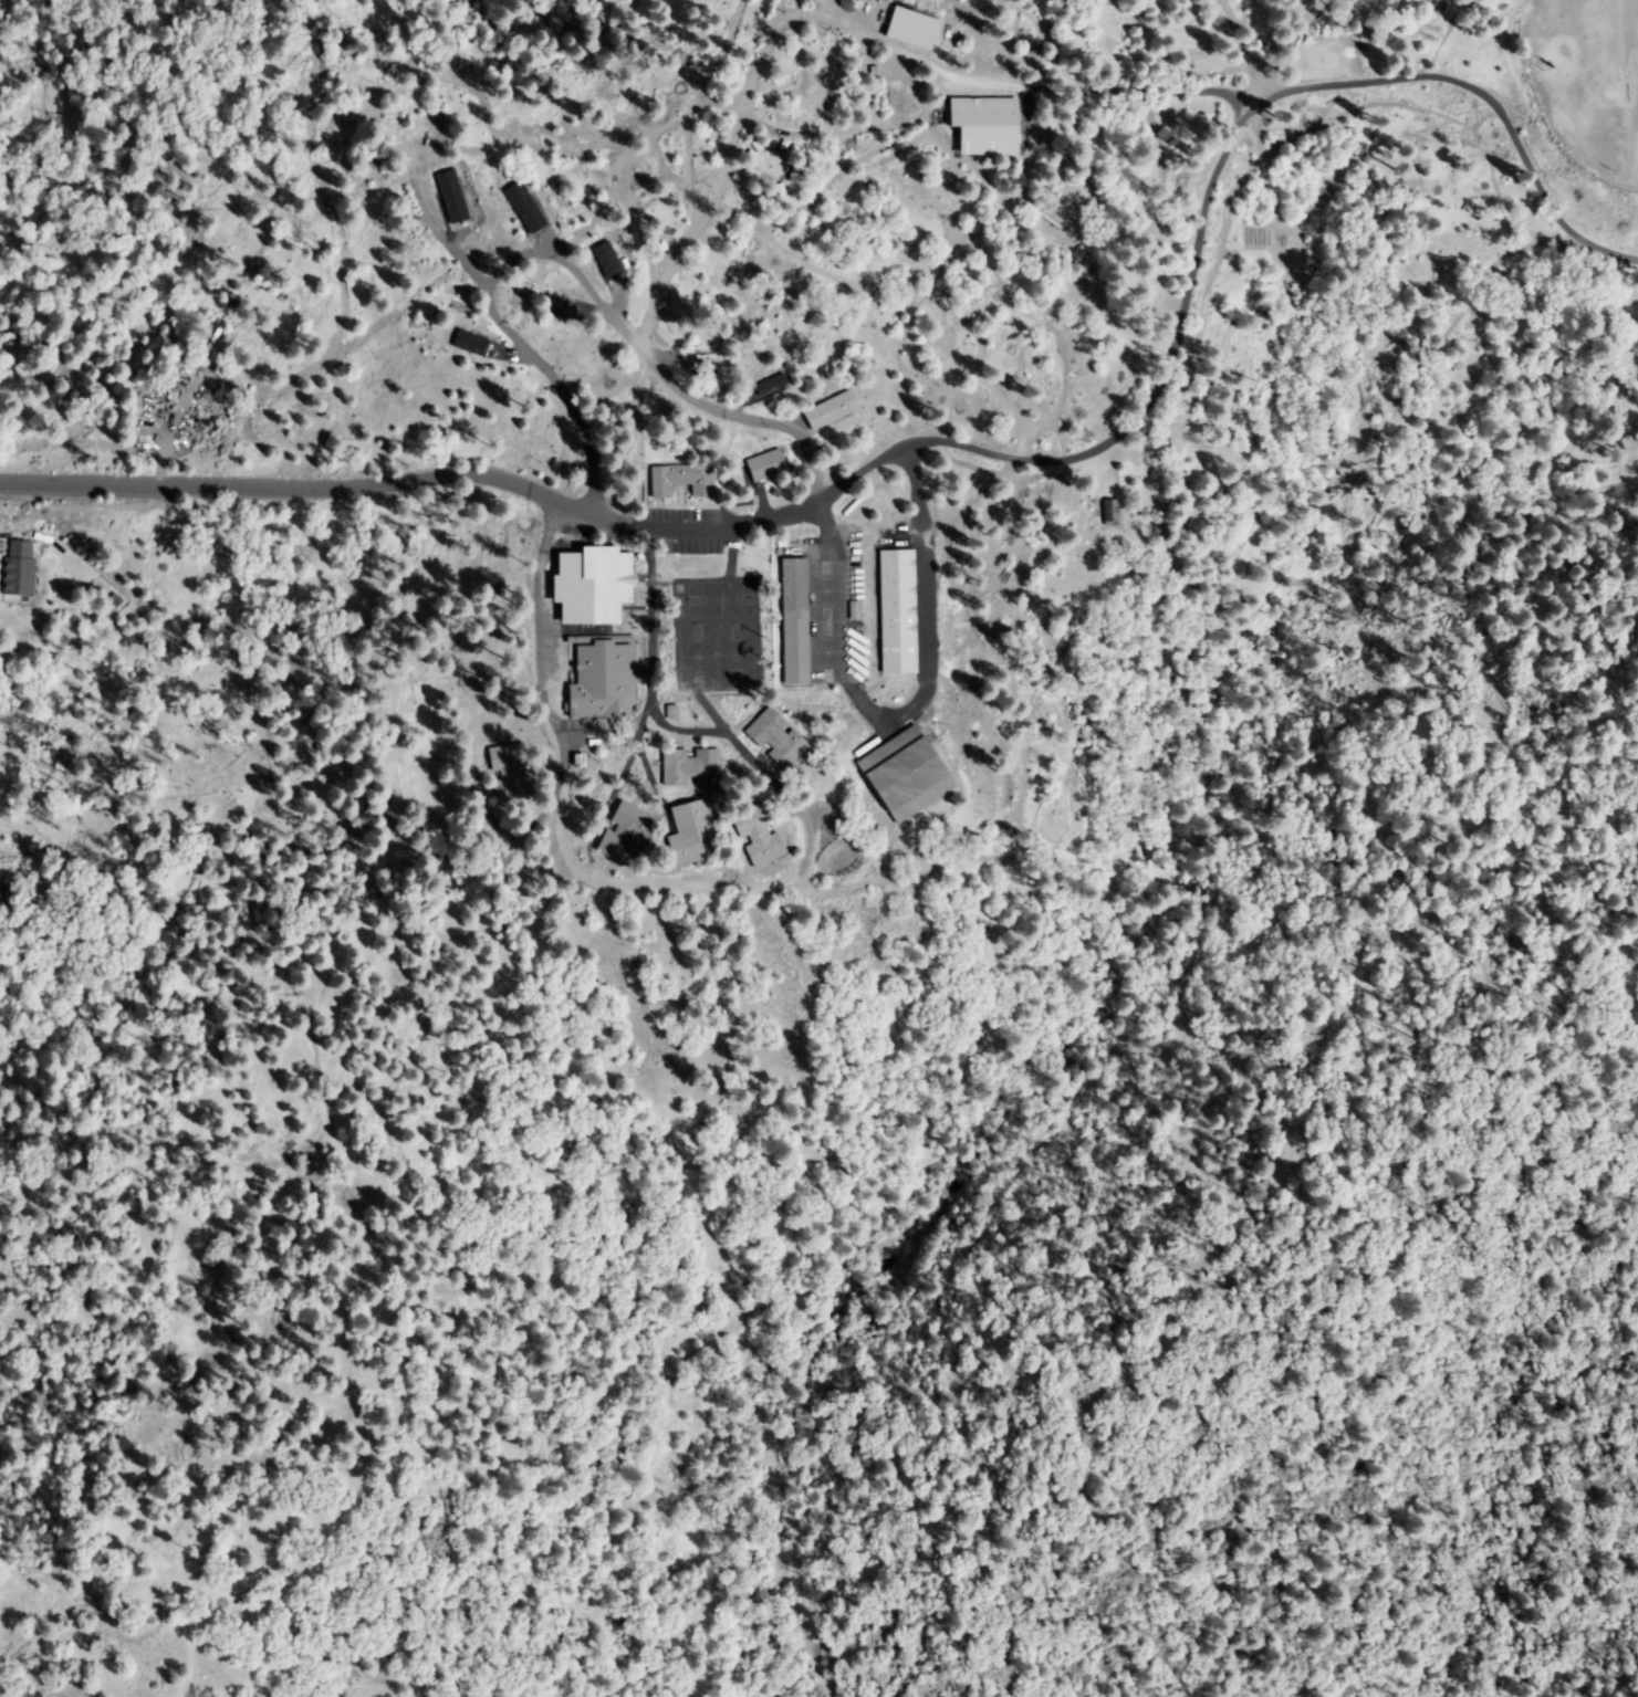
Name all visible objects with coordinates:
building: (843, 3)
storage tank: (852, 4)
building: (912, 30)
road: (1489, 98)
building: (985, 126)
building: (757, 146)
building: (783, 146)
building: (751, 155)
building: (748, 163)
building: (800, 169)
building: (749, 174)
building: (795, 178)
building: (762, 186)
building: (780, 190)
building: (450, 197)
building: (520, 207)
building: (534, 208)
road: (964, 224)
building: (603, 259)
building: (614, 259)
building: (520, 291)
building: (471, 336)
building: (766, 386)
building: (831, 411)
building: (768, 467)
building: (681, 480)
building: (1110, 513)
road: (802, 522)
building: (19, 569)
building: (592, 585)
building: (116, 599)
building: (898, 611)
building: (795, 621)
building: (603, 679)
building: (776, 737)
building: (691, 767)
building: (512, 775)
building: (905, 775)
building: (625, 832)
building: (759, 836)
building: (692, 837)

